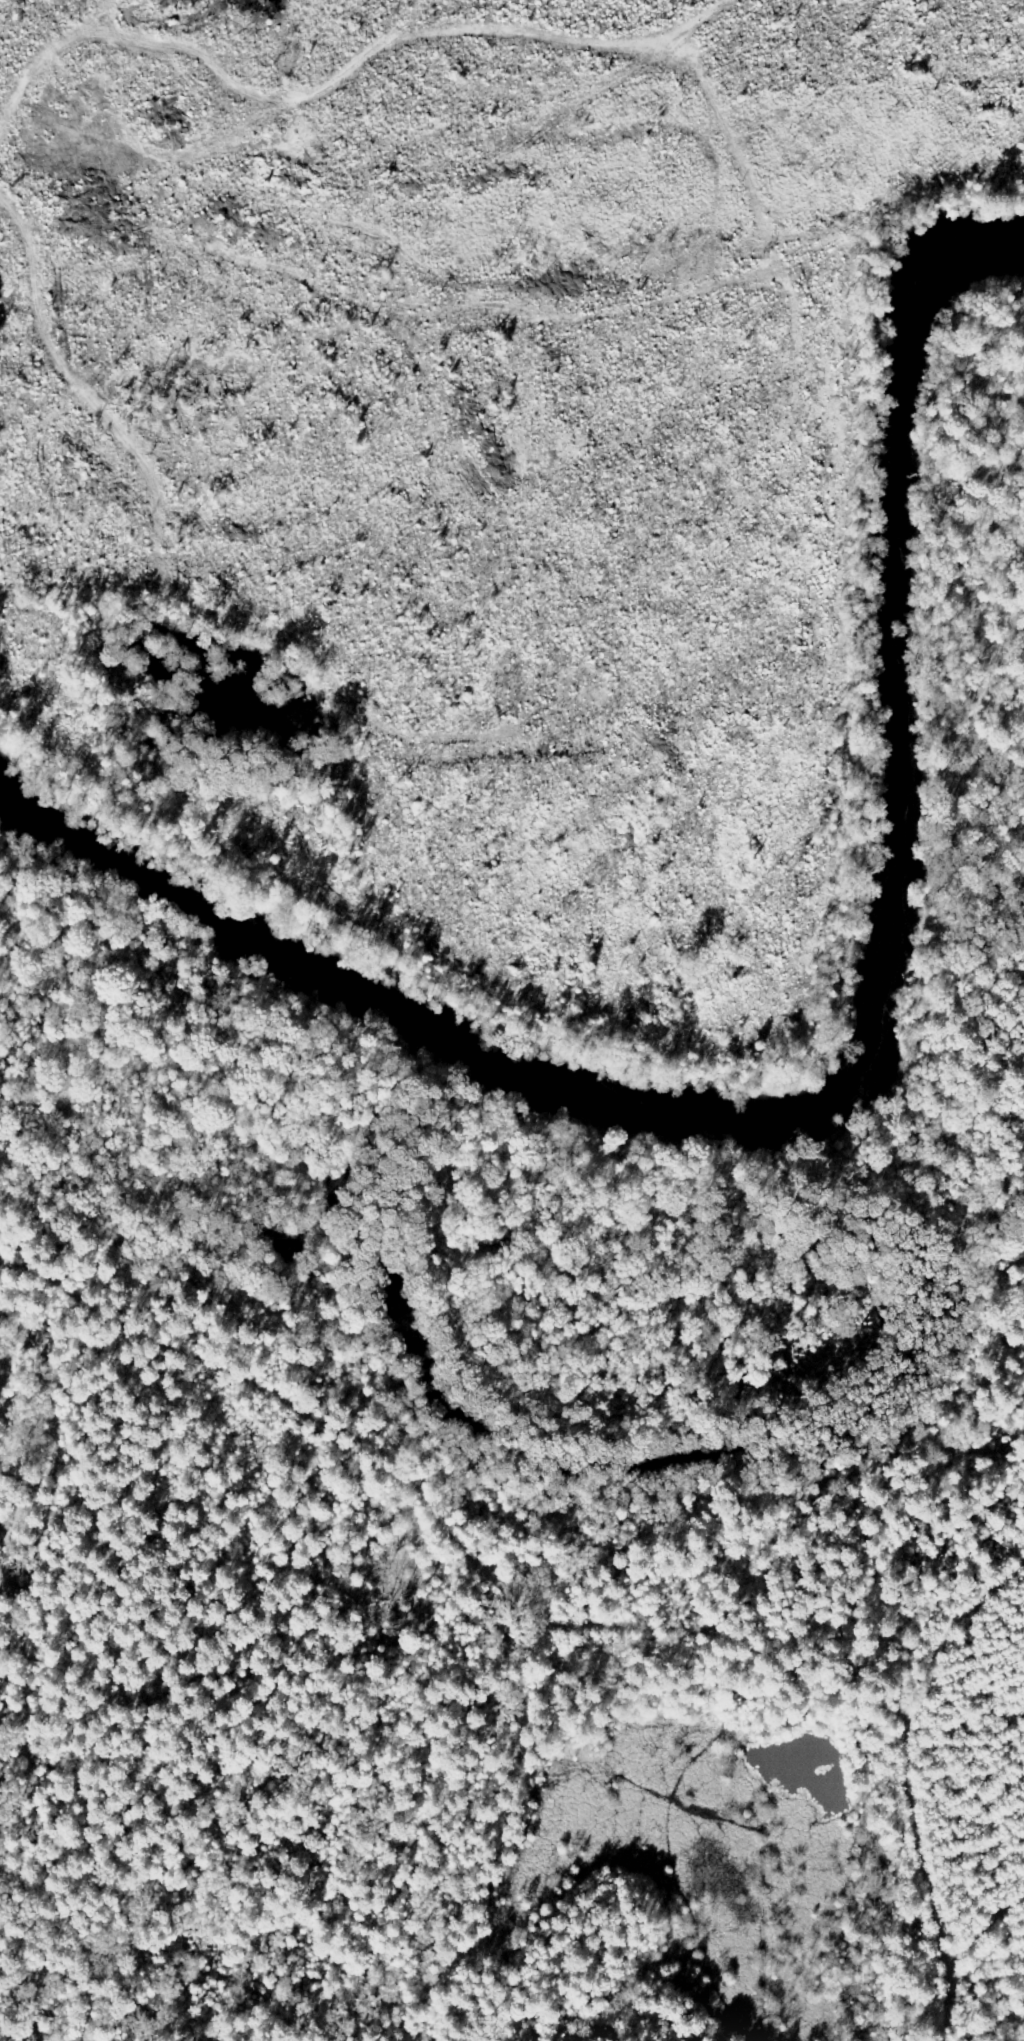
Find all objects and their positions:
river: (843, 1086)

